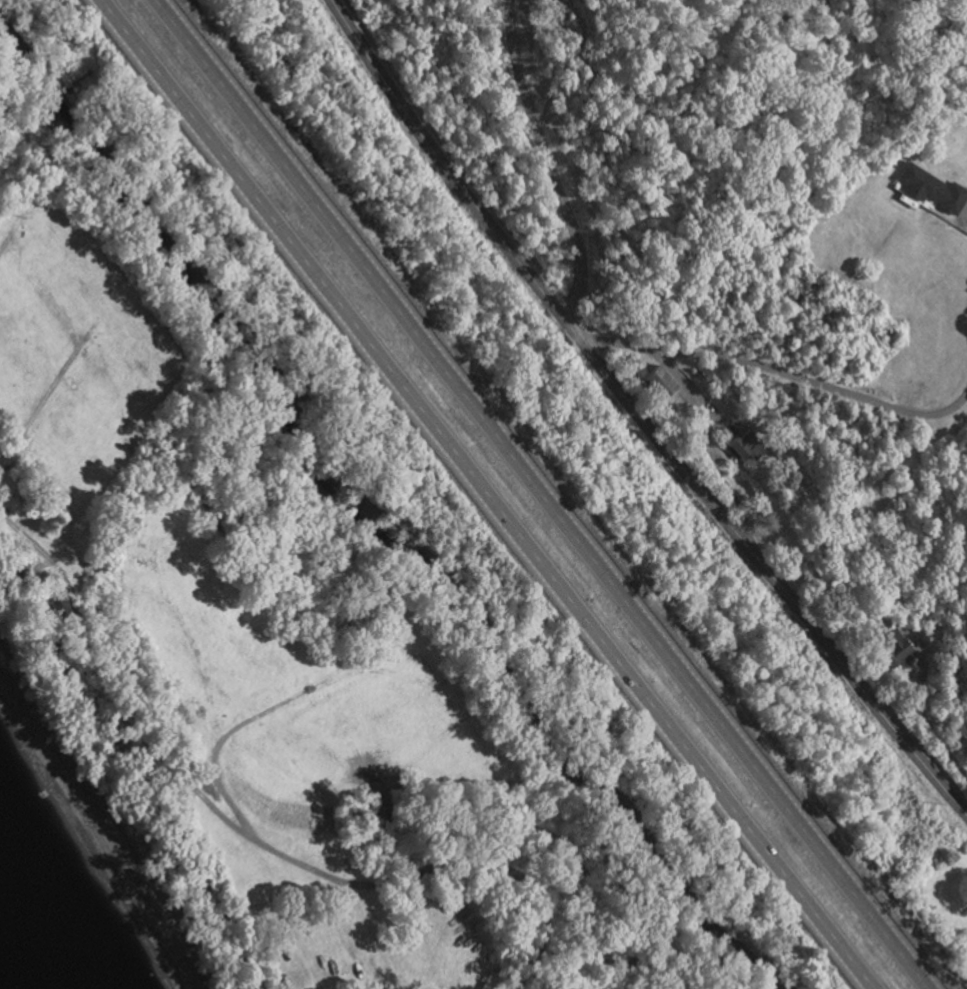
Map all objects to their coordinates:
road: (547, 160)
building: (929, 190)
road: (783, 372)
building: (665, 382)
road: (639, 416)
building: (748, 447)
road: (488, 494)
road: (541, 495)
building: (899, 647)
road: (243, 830)

